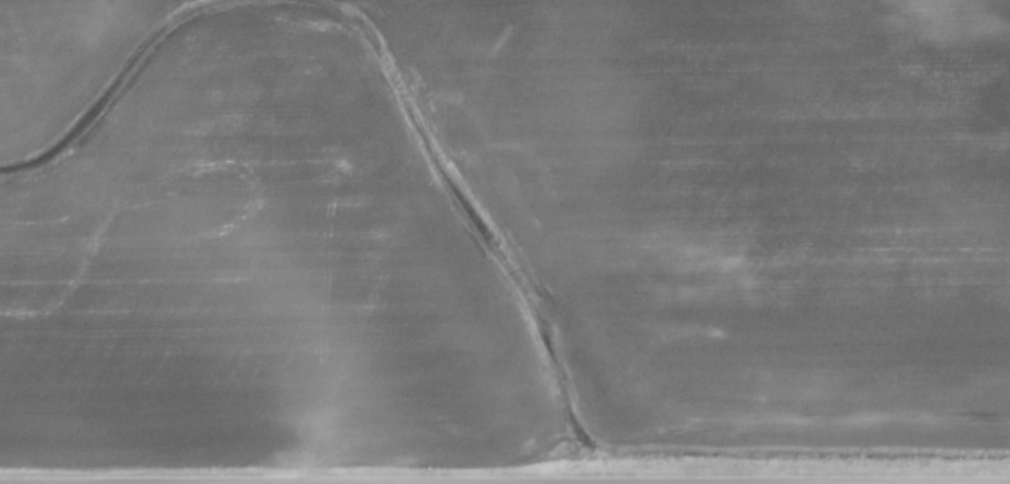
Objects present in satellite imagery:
road: (716, 483)

